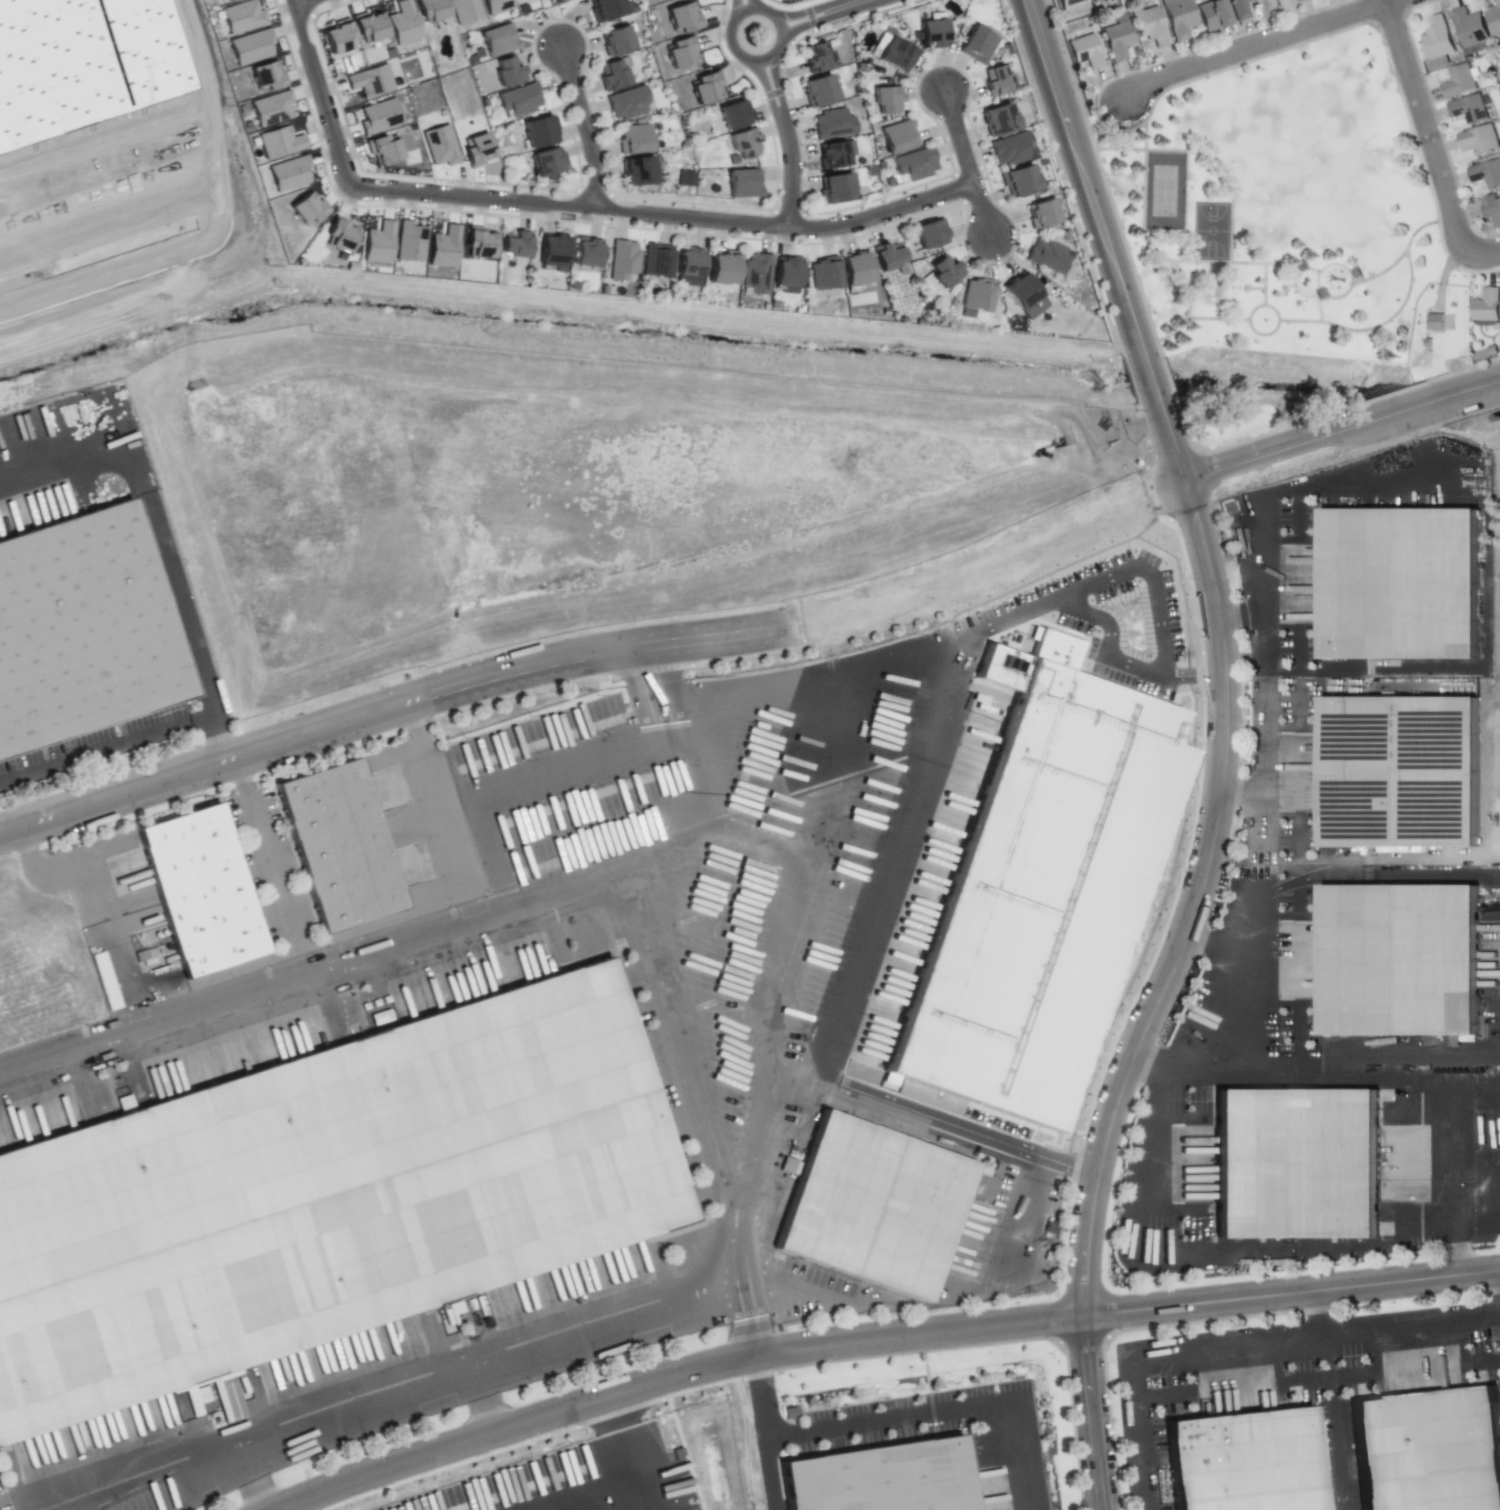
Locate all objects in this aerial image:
building: (227, 0)
building: (1091, 0)
building: (1296, 0)
building: (1300, 0)
building: (1095, 1)
road: (300, 2)
building: (1283, 3)
building: (1072, 4)
building: (496, 6)
road: (740, 6)
building: (1240, 9)
building: (430, 10)
building: (465, 10)
building: (605, 10)
road: (812, 10)
building: (1214, 15)
building: (242, 16)
building: (680, 17)
building: (1180, 18)
building: (1495, 19)
building: (403, 23)
building: (368, 26)
building: (1150, 27)
building: (1470, 28)
building: (338, 36)
building: (932, 36)
building: (1438, 39)
building: (1118, 41)
building: (499, 42)
building: (617, 42)
building: (979, 45)
road: (1255, 45)
building: (250, 46)
road: (732, 47)
building: (679, 52)
building: (1086, 52)
building: (895, 57)
building: (818, 59)
building: (78, 64)
building: (508, 74)
building: (265, 76)
building: (612, 76)
building: (369, 80)
building: (999, 83)
building: (1460, 83)
building: (704, 87)
road: (317, 91)
building: (820, 91)
building: (520, 102)
building: (886, 102)
building: (628, 104)
building: (271, 108)
building: (1469, 110)
building: (378, 116)
building: (733, 117)
building: (998, 121)
road: (585, 126)
building: (835, 126)
road: (1424, 126)
building: (538, 134)
building: (898, 138)
road: (786, 140)
building: (635, 141)
building: (1479, 141)
building: (279, 142)
building: (439, 145)
building: (743, 145)
building: (382, 148)
building: (476, 149)
building: (1012, 150)
road: (1198, 153)
building: (833, 157)
road: (964, 163)
building: (546, 164)
building: (915, 165)
building: (289, 173)
building: (638, 174)
building: (1487, 175)
road: (1083, 177)
building: (684, 178)
building: (1020, 182)
building: (743, 185)
park: (1164, 190)
building: (836, 191)
building: (306, 208)
building: (1491, 209)
road: (659, 213)
building: (1044, 214)
road: (1421, 225)
park: (1210, 230)
building: (339, 234)
building: (930, 237)
park: (1284, 239)
building: (409, 241)
building: (479, 242)
building: (378, 243)
building: (518, 244)
road: (1146, 245)
building: (443, 247)
building: (554, 251)
road: (1482, 252)
building: (587, 253)
building: (887, 258)
building: (1047, 258)
building: (659, 259)
building: (623, 260)
road: (1216, 261)
building: (691, 263)
road: (1279, 266)
building: (724, 268)
building: (788, 270)
building: (854, 271)
building: (945, 272)
building: (758, 273)
building: (823, 277)
road: (1359, 280)
road: (1287, 286)
road: (1254, 288)
building: (1021, 294)
building: (976, 299)
building: (1487, 308)
road: (1216, 318)
road: (1248, 319)
road: (1298, 320)
road: (1377, 324)
road: (1146, 379)
road: (1446, 397)
road: (1361, 424)
road: (90, 429)
road: (1167, 442)
road: (1255, 458)
road: (1484, 544)
building: (1393, 578)
road: (178, 628)
building: (79, 632)
road: (386, 710)
road: (195, 713)
road: (93, 747)
building: (1393, 765)
road: (1242, 790)
road: (434, 798)
road: (677, 842)
building: (348, 843)
building: (992, 848)
road: (264, 854)
road: (1260, 879)
road: (90, 884)
building: (209, 887)
road: (1196, 905)
road: (1122, 924)
road: (1222, 947)
building: (1394, 953)
building: (929, 1024)
road: (1065, 1082)
road: (1418, 1084)
building: (1291, 1158)
road: (1150, 1196)
building: (325, 1198)
building: (865, 1200)
road: (1361, 1247)
road: (913, 1306)
building: (452, 1307)
road: (1322, 1334)
road: (881, 1341)
road: (1172, 1352)
road: (463, 1373)
road: (758, 1399)
road: (940, 1413)
road: (1093, 1414)
building: (1422, 1448)
road: (629, 1456)
building: (1236, 1458)
road: (137, 1465)
road: (766, 1474)
building: (886, 1479)
road: (632, 1504)

